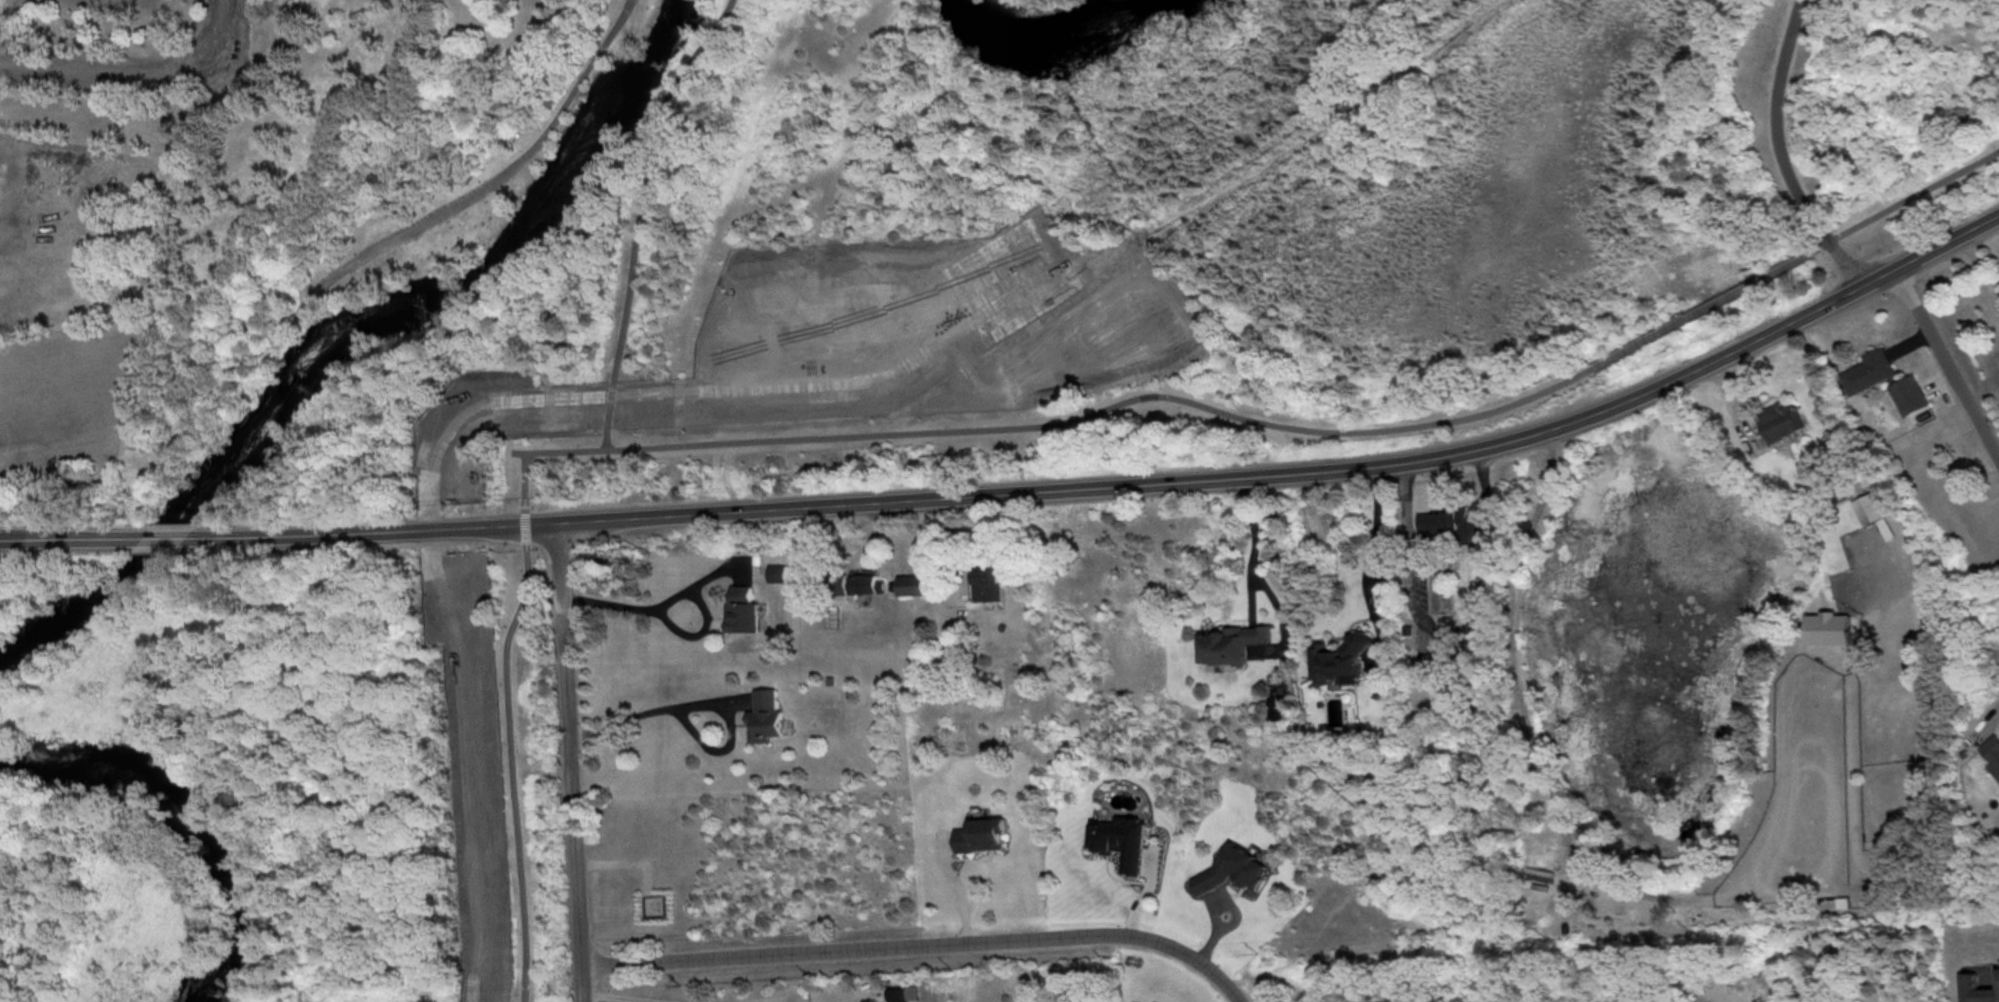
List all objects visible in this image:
park: (1029, 4)
road: (628, 24)
river: (1039, 39)
road: (134, 71)
road: (1779, 154)
road: (491, 177)
road: (1901, 201)
road: (635, 213)
road: (367, 270)
road: (1699, 309)
river: (345, 325)
road: (1947, 365)
building: (1869, 370)
building: (1909, 394)
park: (903, 400)
building: (1783, 420)
road: (794, 438)
road: (1121, 486)
building: (1873, 507)
building: (1456, 523)
road: (162, 537)
road: (66, 539)
road: (1253, 542)
road: (1371, 544)
road: (930, 565)
building: (777, 572)
building: (867, 581)
building: (988, 581)
building: (913, 584)
road: (620, 602)
building: (743, 609)
road: (1452, 627)
building: (1828, 627)
building: (1232, 642)
building: (1341, 658)
road: (636, 714)
building: (765, 715)
building: (1992, 752)
road: (571, 762)
river: (192, 823)
building: (981, 833)
building: (1123, 840)
building: (1233, 868)
road: (945, 885)
road: (924, 949)
building: (1998, 970)
building: (1976, 988)
building: (901, 992)
road: (674, 1000)

